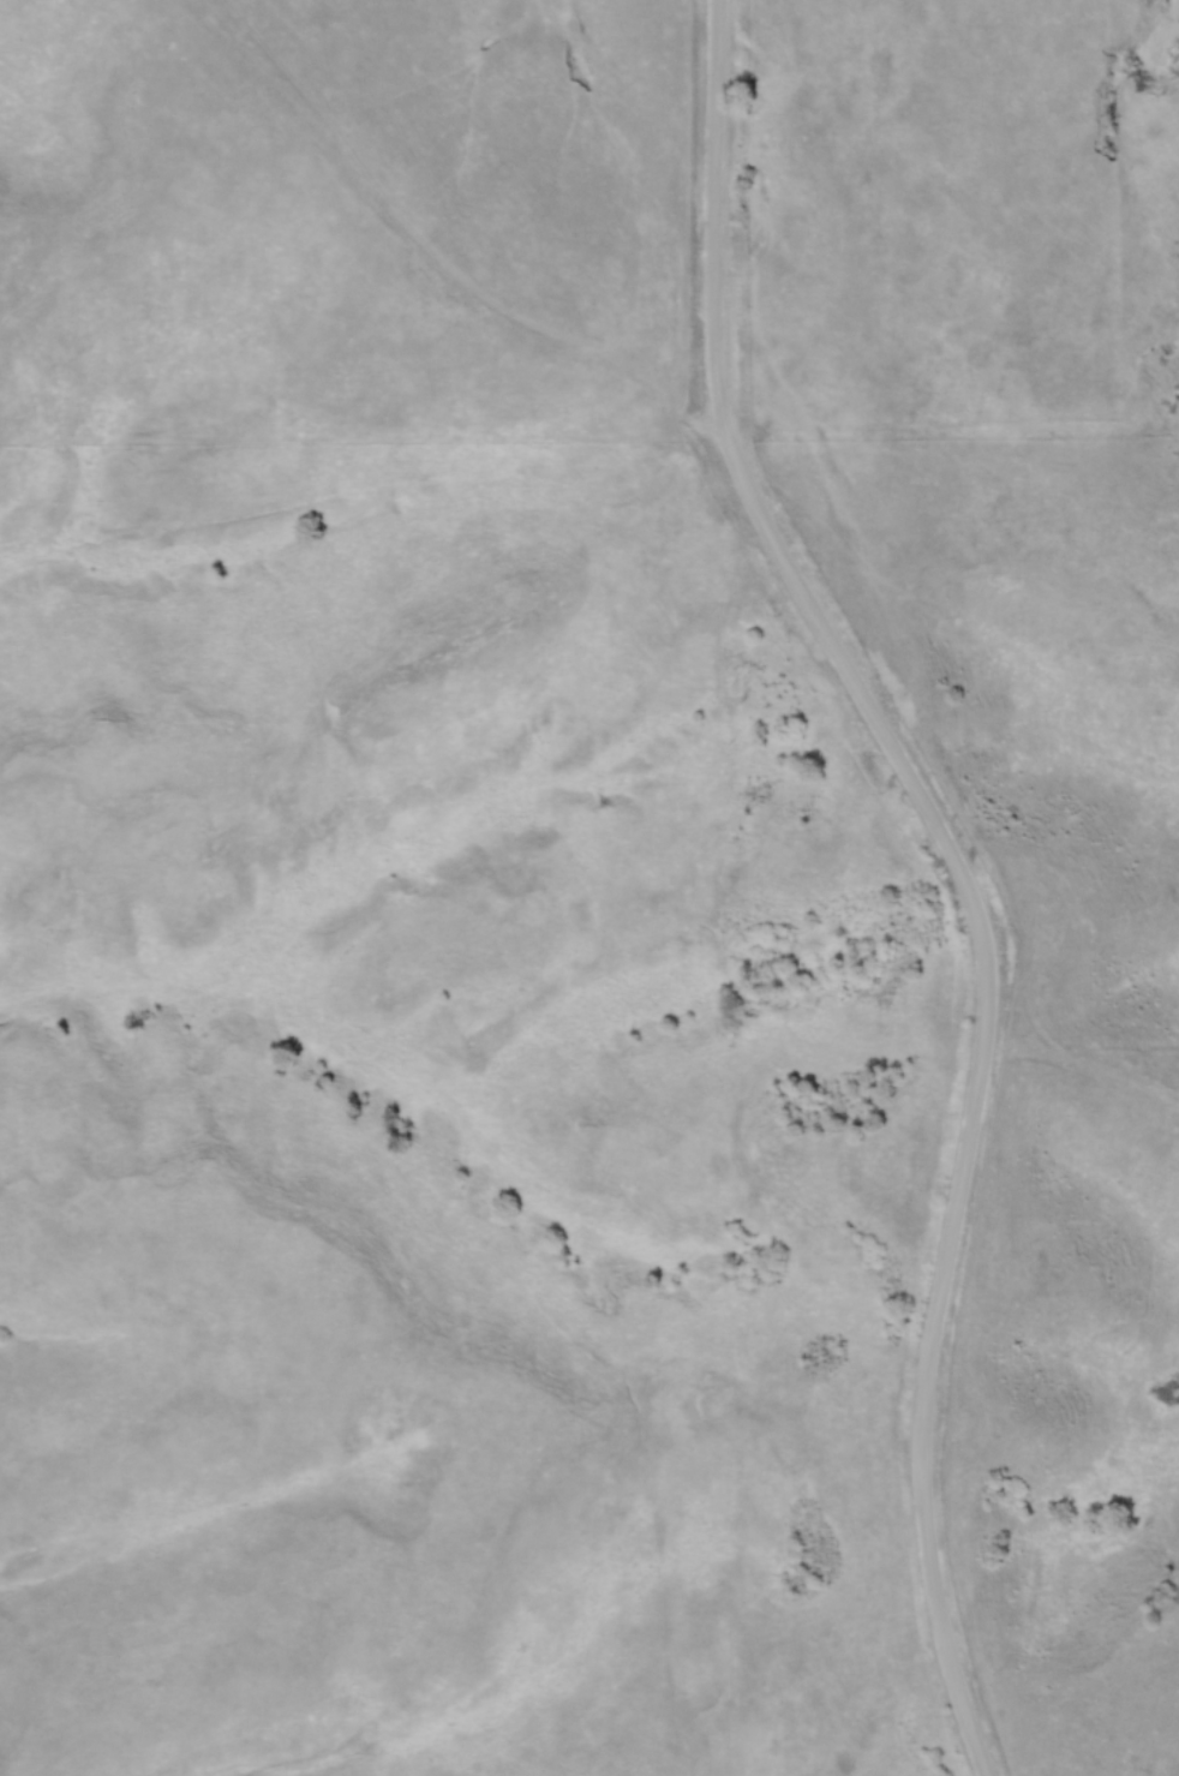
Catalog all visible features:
road: (957, 868)

